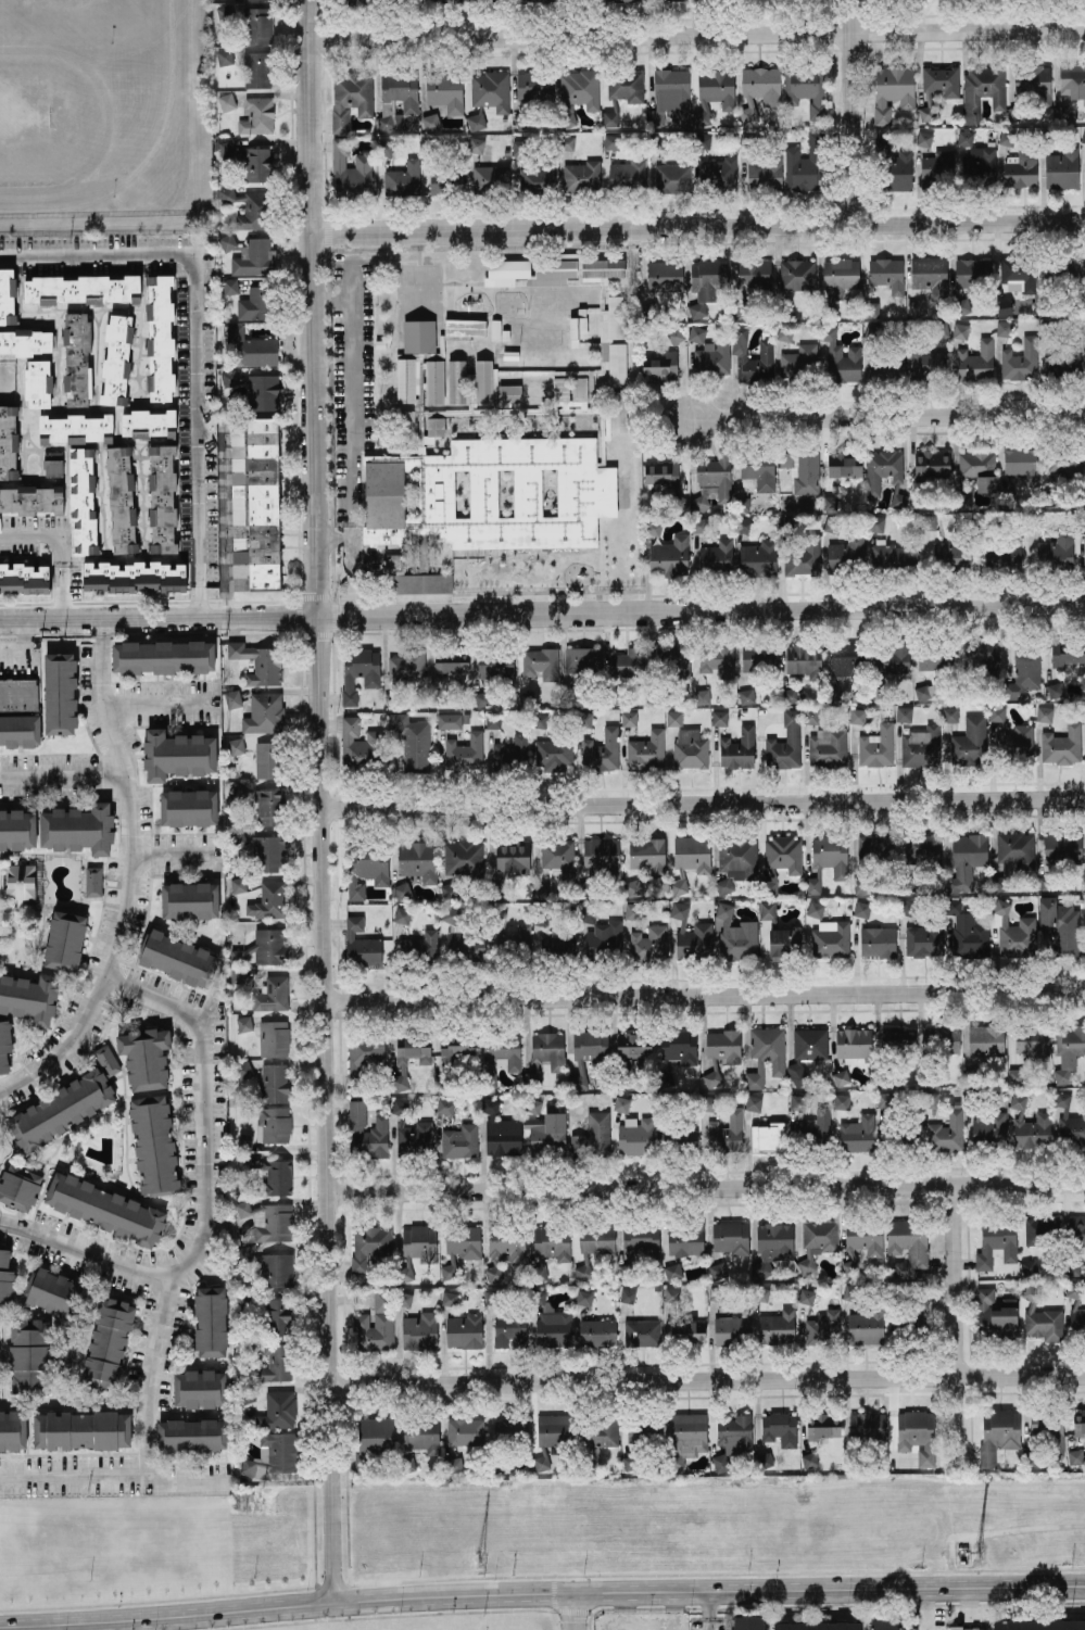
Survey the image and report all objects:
building: (356, 1)
park: (73, 20)
building: (258, 24)
road: (693, 33)
building: (224, 56)
building: (257, 68)
building: (1072, 79)
building: (1033, 81)
building: (626, 85)
building: (534, 86)
building: (937, 86)
building: (491, 89)
building: (759, 89)
building: (806, 89)
building: (401, 90)
building: (445, 90)
building: (892, 90)
building: (982, 90)
building: (578, 92)
building: (714, 92)
building: (669, 93)
building: (351, 98)
building: (226, 101)
building: (1065, 111)
road: (854, 112)
building: (257, 115)
building: (609, 117)
park: (25, 118)
building: (395, 118)
building: (430, 121)
building: (476, 121)
building: (1083, 136)
building: (964, 137)
building: (924, 138)
building: (702, 139)
building: (657, 140)
building: (611, 141)
building: (476, 144)
building: (386, 147)
building: (517, 147)
building: (226, 148)
road: (147, 157)
building: (257, 164)
building: (979, 164)
building: (804, 165)
building: (894, 167)
building: (937, 167)
building: (1020, 168)
building: (1062, 168)
building: (351, 172)
building: (718, 172)
building: (766, 172)
building: (581, 176)
building: (627, 176)
building: (490, 177)
building: (403, 178)
building: (534, 178)
building: (672, 178)
building: (438, 180)
building: (456, 181)
building: (250, 207)
road: (695, 226)
building: (232, 244)
building: (255, 257)
building: (1060, 266)
building: (553, 270)
building: (971, 271)
building: (1017, 271)
building: (750, 274)
building: (797, 274)
building: (887, 274)
building: (665, 275)
building: (930, 275)
building: (837, 281)
building: (704, 285)
building: (230, 286)
building: (83, 289)
building: (8, 294)
road: (328, 298)
building: (254, 303)
building: (961, 305)
road: (306, 306)
building: (916, 307)
building: (870, 308)
building: (465, 326)
building: (1004, 328)
building: (1084, 328)
building: (960, 330)
building: (784, 331)
building: (873, 331)
building: (696, 332)
building: (674, 333)
building: (160, 337)
road: (197, 337)
building: (418, 337)
building: (614, 339)
building: (25, 341)
building: (740, 345)
building: (250, 348)
building: (712, 356)
building: (841, 356)
building: (76, 358)
building: (1063, 358)
building: (116, 359)
building: (799, 361)
building: (1020, 361)
building: (975, 362)
building: (926, 364)
building: (660, 366)
building: (878, 366)
building: (229, 377)
parking lot: (351, 377)
building: (407, 380)
building: (457, 380)
building: (482, 380)
building: (434, 381)
building: (38, 383)
building: (264, 391)
building: (509, 392)
road: (352, 406)
building: (617, 410)
road: (888, 415)
building: (148, 422)
building: (434, 426)
building: (9, 442)
building: (932, 463)
building: (1021, 463)
building: (843, 465)
building: (52, 467)
building: (1065, 467)
building: (979, 468)
building: (79, 469)
building: (758, 469)
building: (802, 469)
building: (882, 469)
building: (661, 472)
building: (712, 481)
building: (488, 494)
building: (162, 497)
building: (31, 498)
building: (122, 498)
building: (256, 500)
building: (899, 500)
building: (829, 502)
building: (678, 503)
building: (742, 503)
building: (1081, 519)
building: (876, 522)
building: (926, 522)
building: (698, 523)
building: (832, 523)
road: (225, 525)
building: (743, 525)
building: (654, 526)
road: (332, 536)
road: (61, 545)
building: (1056, 549)
building: (847, 553)
building: (950, 554)
building: (716, 555)
building: (1002, 555)
building: (669, 556)
building: (893, 556)
building: (758, 558)
building: (802, 558)
building: (134, 576)
building: (240, 577)
building: (24, 578)
building: (406, 578)
road: (699, 608)
road: (156, 618)
road: (24, 653)
building: (985, 653)
building: (1067, 654)
building: (163, 656)
building: (759, 657)
building: (674, 658)
building: (847, 658)
building: (934, 658)
building: (582, 659)
building: (891, 659)
building: (717, 660)
building: (804, 660)
building: (257, 661)
building: (540, 662)
building: (628, 662)
building: (495, 664)
building: (406, 665)
building: (451, 667)
building: (358, 671)
building: (1024, 671)
building: (1055, 690)
building: (924, 691)
building: (60, 693)
building: (702, 695)
building: (746, 695)
building: (790, 695)
road: (157, 697)
building: (232, 697)
building: (482, 698)
building: (18, 712)
building: (264, 712)
building: (904, 712)
building: (997, 712)
building: (950, 713)
building: (1045, 713)
building: (857, 715)
building: (1084, 715)
building: (810, 716)
building: (673, 717)
building: (719, 717)
building: (585, 718)
building: (628, 718)
building: (449, 720)
building: (492, 720)
building: (540, 720)
building: (412, 741)
building: (1017, 741)
building: (969, 742)
building: (784, 743)
building: (359, 744)
building: (236, 745)
building: (1062, 745)
building: (520, 746)
building: (876, 746)
building: (920, 746)
building: (828, 747)
building: (690, 748)
building: (737, 748)
building: (602, 750)
building: (646, 750)
building: (464, 751)
building: (177, 754)
building: (500, 755)
building: (554, 755)
building: (266, 759)
road: (63, 774)
road: (704, 801)
building: (268, 806)
building: (188, 807)
building: (17, 829)
building: (77, 829)
building: (1062, 846)
building: (874, 848)
building: (922, 848)
building: (1015, 848)
building: (556, 851)
road: (172, 852)
building: (269, 852)
building: (692, 852)
building: (783, 852)
building: (647, 855)
building: (464, 857)
building: (513, 857)
building: (602, 857)
building: (417, 859)
building: (967, 859)
building: (827, 860)
building: (742, 864)
building: (366, 870)
road: (127, 880)
building: (20, 881)
building: (93, 881)
building: (999, 883)
building: (238, 884)
building: (679, 886)
building: (633, 887)
building: (402, 889)
building: (450, 889)
building: (541, 889)
building: (189, 899)
building: (268, 900)
building: (909, 907)
building: (815, 908)
building: (862, 908)
building: (633, 910)
building: (679, 910)
building: (767, 910)
building: (589, 913)
building: (402, 914)
building: (451, 914)
building: (542, 918)
building: (1060, 924)
building: (967, 932)
building: (1014, 933)
building: (734, 934)
building: (513, 937)
building: (830, 938)
building: (604, 939)
building: (694, 939)
building: (64, 940)
building: (878, 940)
building: (923, 940)
building: (361, 943)
building: (648, 943)
building: (784, 943)
building: (466, 944)
building: (557, 944)
building: (419, 946)
building: (263, 947)
building: (178, 958)
building: (272, 994)
road: (704, 996)
building: (29, 997)
building: (243, 1023)
building: (274, 1037)
building: (900, 1037)
building: (941, 1038)
building: (985, 1039)
building: (1032, 1043)
building: (590, 1044)
building: (633, 1044)
building: (854, 1044)
building: (679, 1045)
building: (723, 1045)
building: (4, 1046)
building: (769, 1047)
building: (504, 1049)
building: (365, 1050)
building: (457, 1050)
building: (806, 1050)
building: (1068, 1050)
building: (545, 1054)
building: (144, 1057)
building: (106, 1059)
building: (408, 1060)
building: (243, 1069)
building: (971, 1072)
building: (578, 1075)
building: (841, 1076)
building: (710, 1078)
building: (274, 1082)
building: (929, 1099)
building: (753, 1101)
building: (797, 1101)
building: (841, 1101)
building: (709, 1102)
building: (620, 1103)
building: (444, 1105)
building: (532, 1105)
road: (326, 1107)
building: (59, 1110)
building: (1069, 1122)
building: (275, 1124)
building: (815, 1125)
building: (988, 1125)
building: (1030, 1125)
building: (548, 1129)
building: (366, 1130)
building: (501, 1132)
building: (726, 1132)
building: (946, 1132)
building: (412, 1134)
building: (857, 1134)
building: (635, 1136)
building: (767, 1136)
building: (592, 1137)
building: (459, 1140)
building: (153, 1143)
building: (278, 1177)
road: (706, 1185)
building: (20, 1186)
road: (204, 1205)
building: (105, 1209)
building: (242, 1209)
building: (273, 1222)
building: (1042, 1228)
building: (1076, 1230)
building: (730, 1236)
building: (597, 1238)
building: (640, 1238)
building: (684, 1239)
building: (552, 1241)
building: (817, 1241)
building: (861, 1241)
building: (996, 1242)
building: (369, 1244)
building: (772, 1244)
building: (908, 1244)
building: (414, 1246)
building: (461, 1247)
road: (81, 1248)
building: (242, 1253)
building: (1029, 1266)
building: (539, 1267)
building: (277, 1269)
building: (717, 1269)
building: (672, 1271)
building: (582, 1272)
building: (493, 1274)
building: (5, 1276)
building: (656, 1286)
building: (1072, 1289)
building: (54, 1292)
building: (764, 1292)
building: (850, 1292)
building: (671, 1293)
building: (716, 1293)
building: (627, 1294)
building: (806, 1296)
building: (583, 1297)
building: (404, 1298)
building: (449, 1298)
building: (919, 1307)
building: (995, 1312)
building: (278, 1315)
building: (1077, 1319)
building: (211, 1321)
building: (1043, 1323)
building: (375, 1325)
building: (866, 1325)
road: (955, 1325)
building: (777, 1326)
building: (823, 1327)
building: (553, 1328)
building: (731, 1329)
building: (419, 1330)
building: (464, 1330)
building: (509, 1330)
building: (642, 1331)
building: (687, 1331)
building: (597, 1332)
building: (108, 1341)
building: (64, 1352)
building: (29, 1355)
building: (275, 1362)
road: (708, 1378)
building: (200, 1388)
building: (247, 1395)
building: (278, 1410)
building: (1080, 1423)
building: (867, 1425)
building: (822, 1426)
building: (1048, 1427)
building: (779, 1428)
building: (12, 1429)
building: (81, 1429)
building: (510, 1429)
building: (465, 1430)
building: (603, 1430)
building: (635, 1432)
building: (998, 1432)
building: (192, 1433)
building: (376, 1433)
building: (689, 1433)
building: (734, 1433)
building: (421, 1435)
building: (917, 1435)
building: (551, 1436)
building: (272, 1454)
building: (1075, 1455)
building: (809, 1458)
building: (765, 1460)
building: (720, 1462)
building: (453, 1464)
road: (113, 1474)
road: (1015, 1527)
power tower: (980, 1552)
power tower: (478, 1560)
road: (542, 1592)
road: (924, 1608)
road: (672, 1609)
road: (709, 1609)
road: (575, 1610)
building: (748, 1621)
building: (884, 1623)
building: (1040, 1623)
road: (52, 1626)
building: (817, 1626)
building: (967, 1628)

